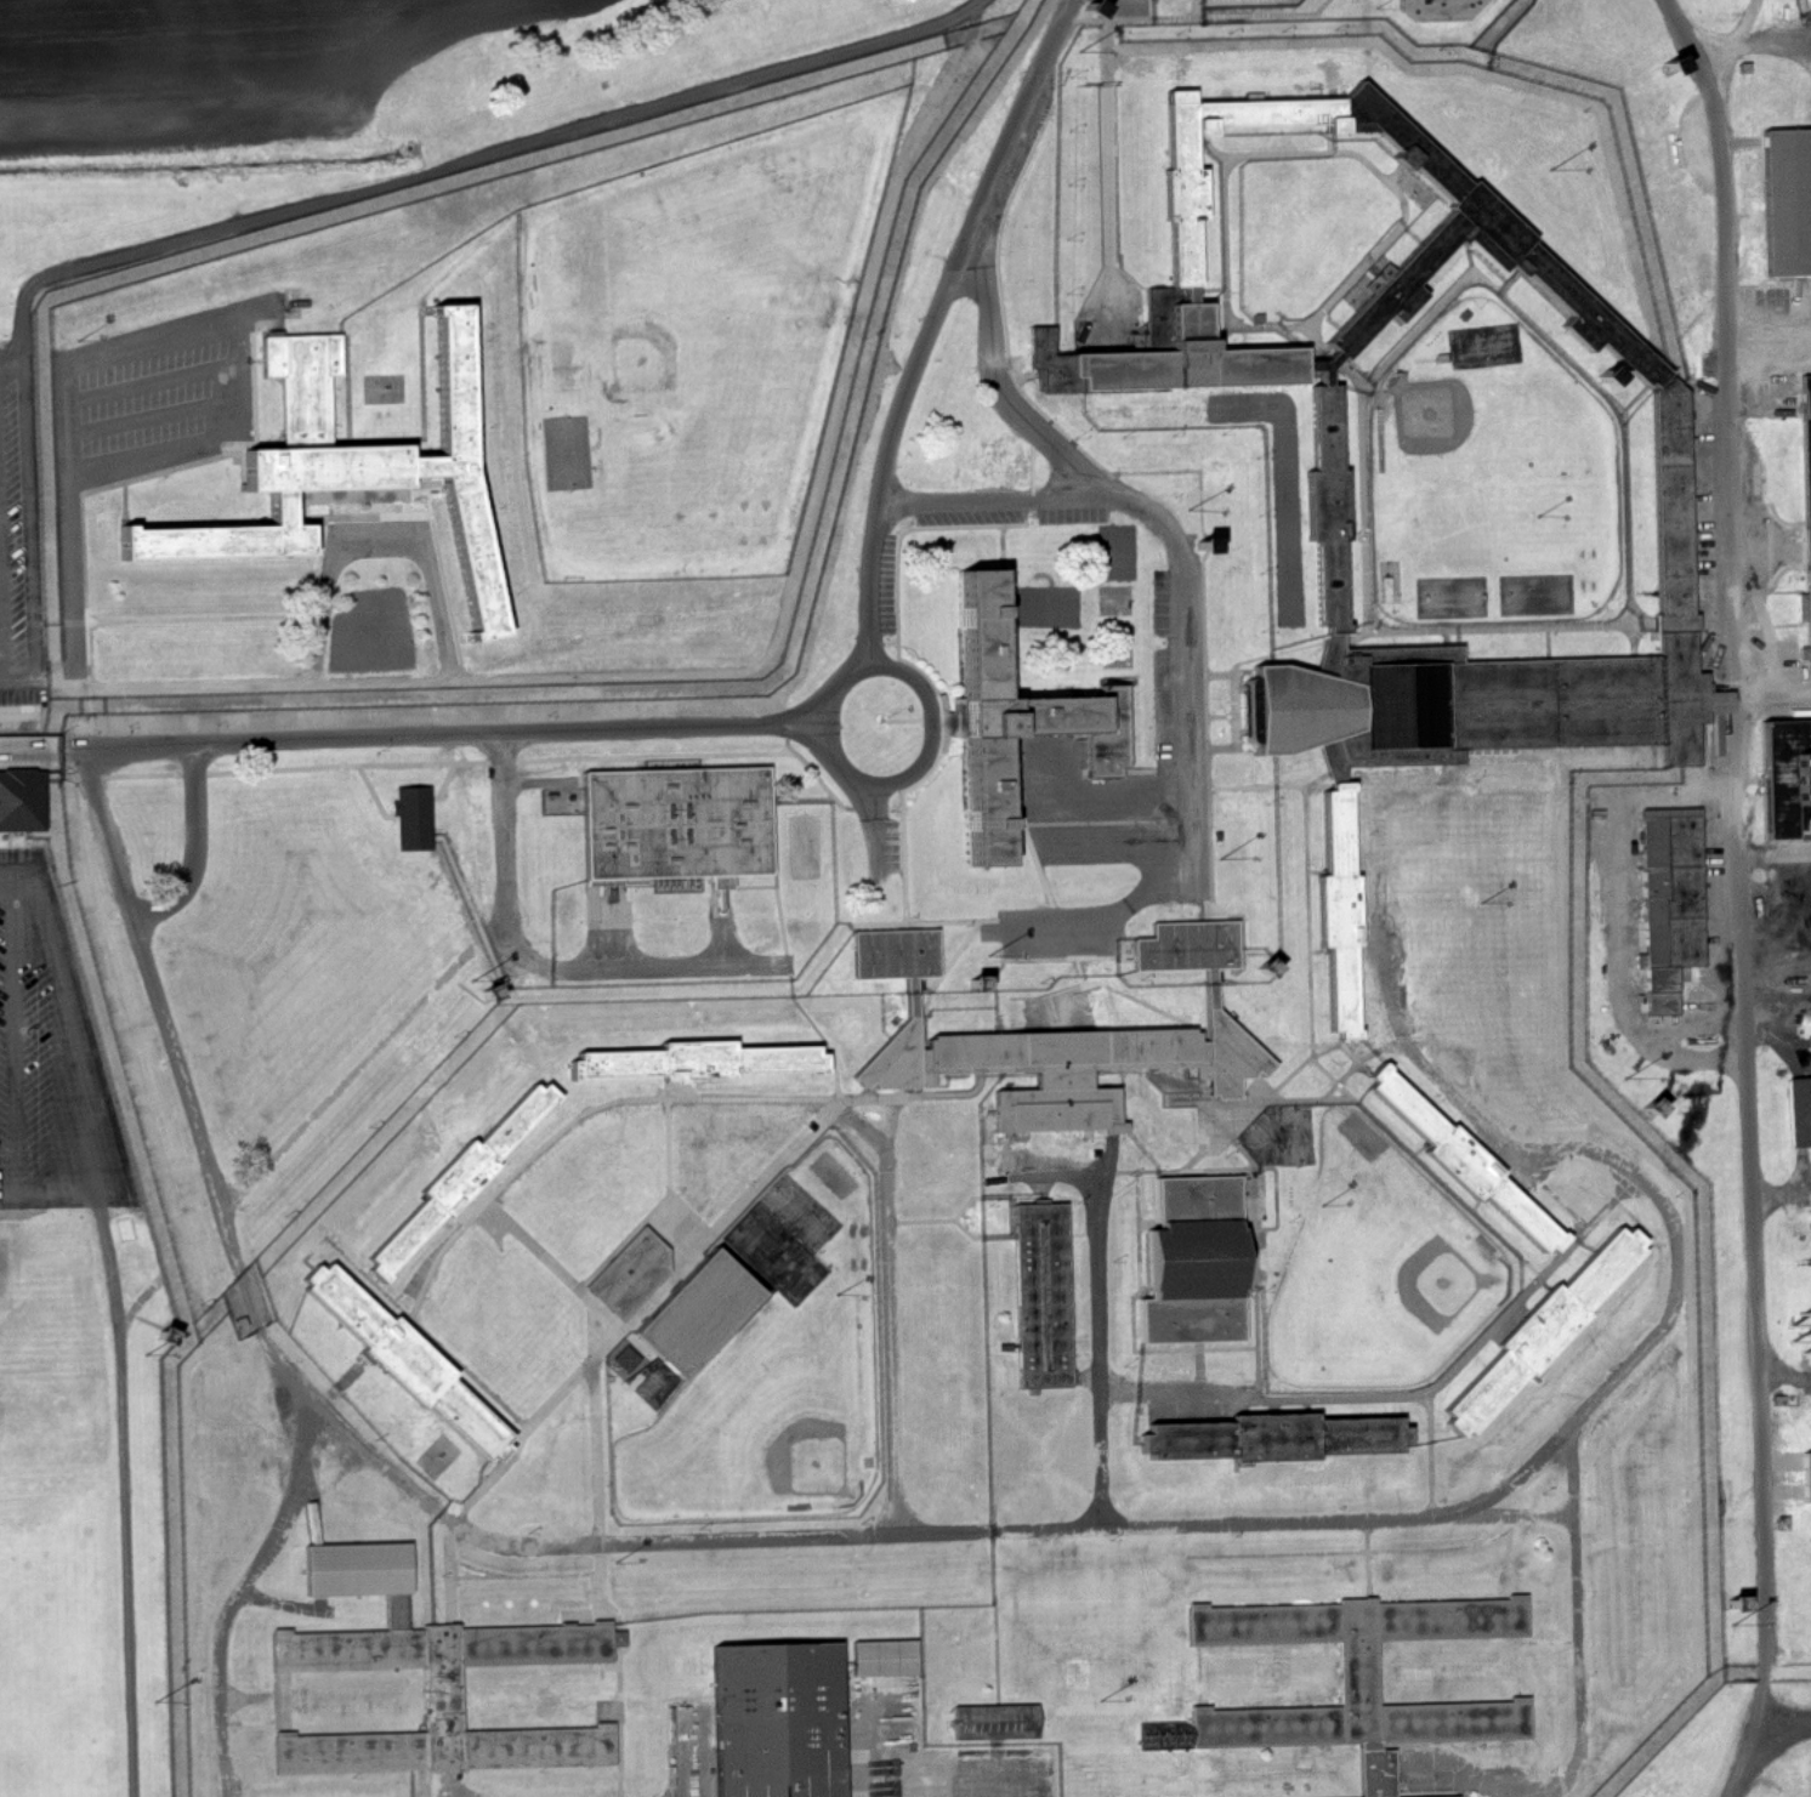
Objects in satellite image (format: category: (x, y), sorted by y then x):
building: (1438, 10)
road: (1756, 44)
building: (1244, 115)
road: (466, 158)
building: (1788, 201)
building: (1141, 359)
building: (456, 363)
building: (269, 459)
building: (1333, 619)
road: (1, 637)
building: (1029, 698)
building: (1375, 749)
building: (21, 801)
building: (679, 823)
road: (1754, 894)
building: (1671, 916)
building: (1190, 946)
building: (914, 1007)
building: (1217, 1023)
road: (19, 1037)
building: (1063, 1070)
road: (76, 1071)
building: (1800, 1110)
building: (1198, 1262)
building: (1041, 1295)
building: (1476, 1405)
building: (1238, 1438)
road: (136, 1491)
building: (886, 1657)
building: (1381, 1678)
building: (438, 1679)
road: (1788, 1714)
building: (782, 1719)
building: (998, 1722)
building: (1453, 1796)

